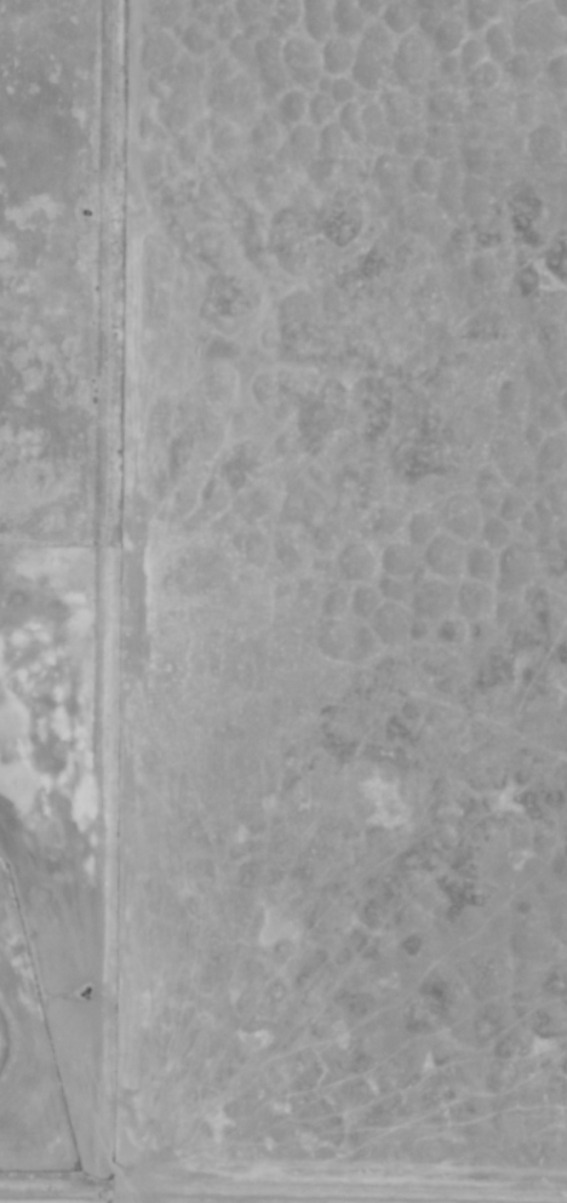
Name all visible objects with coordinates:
airport: (27, 1058)

